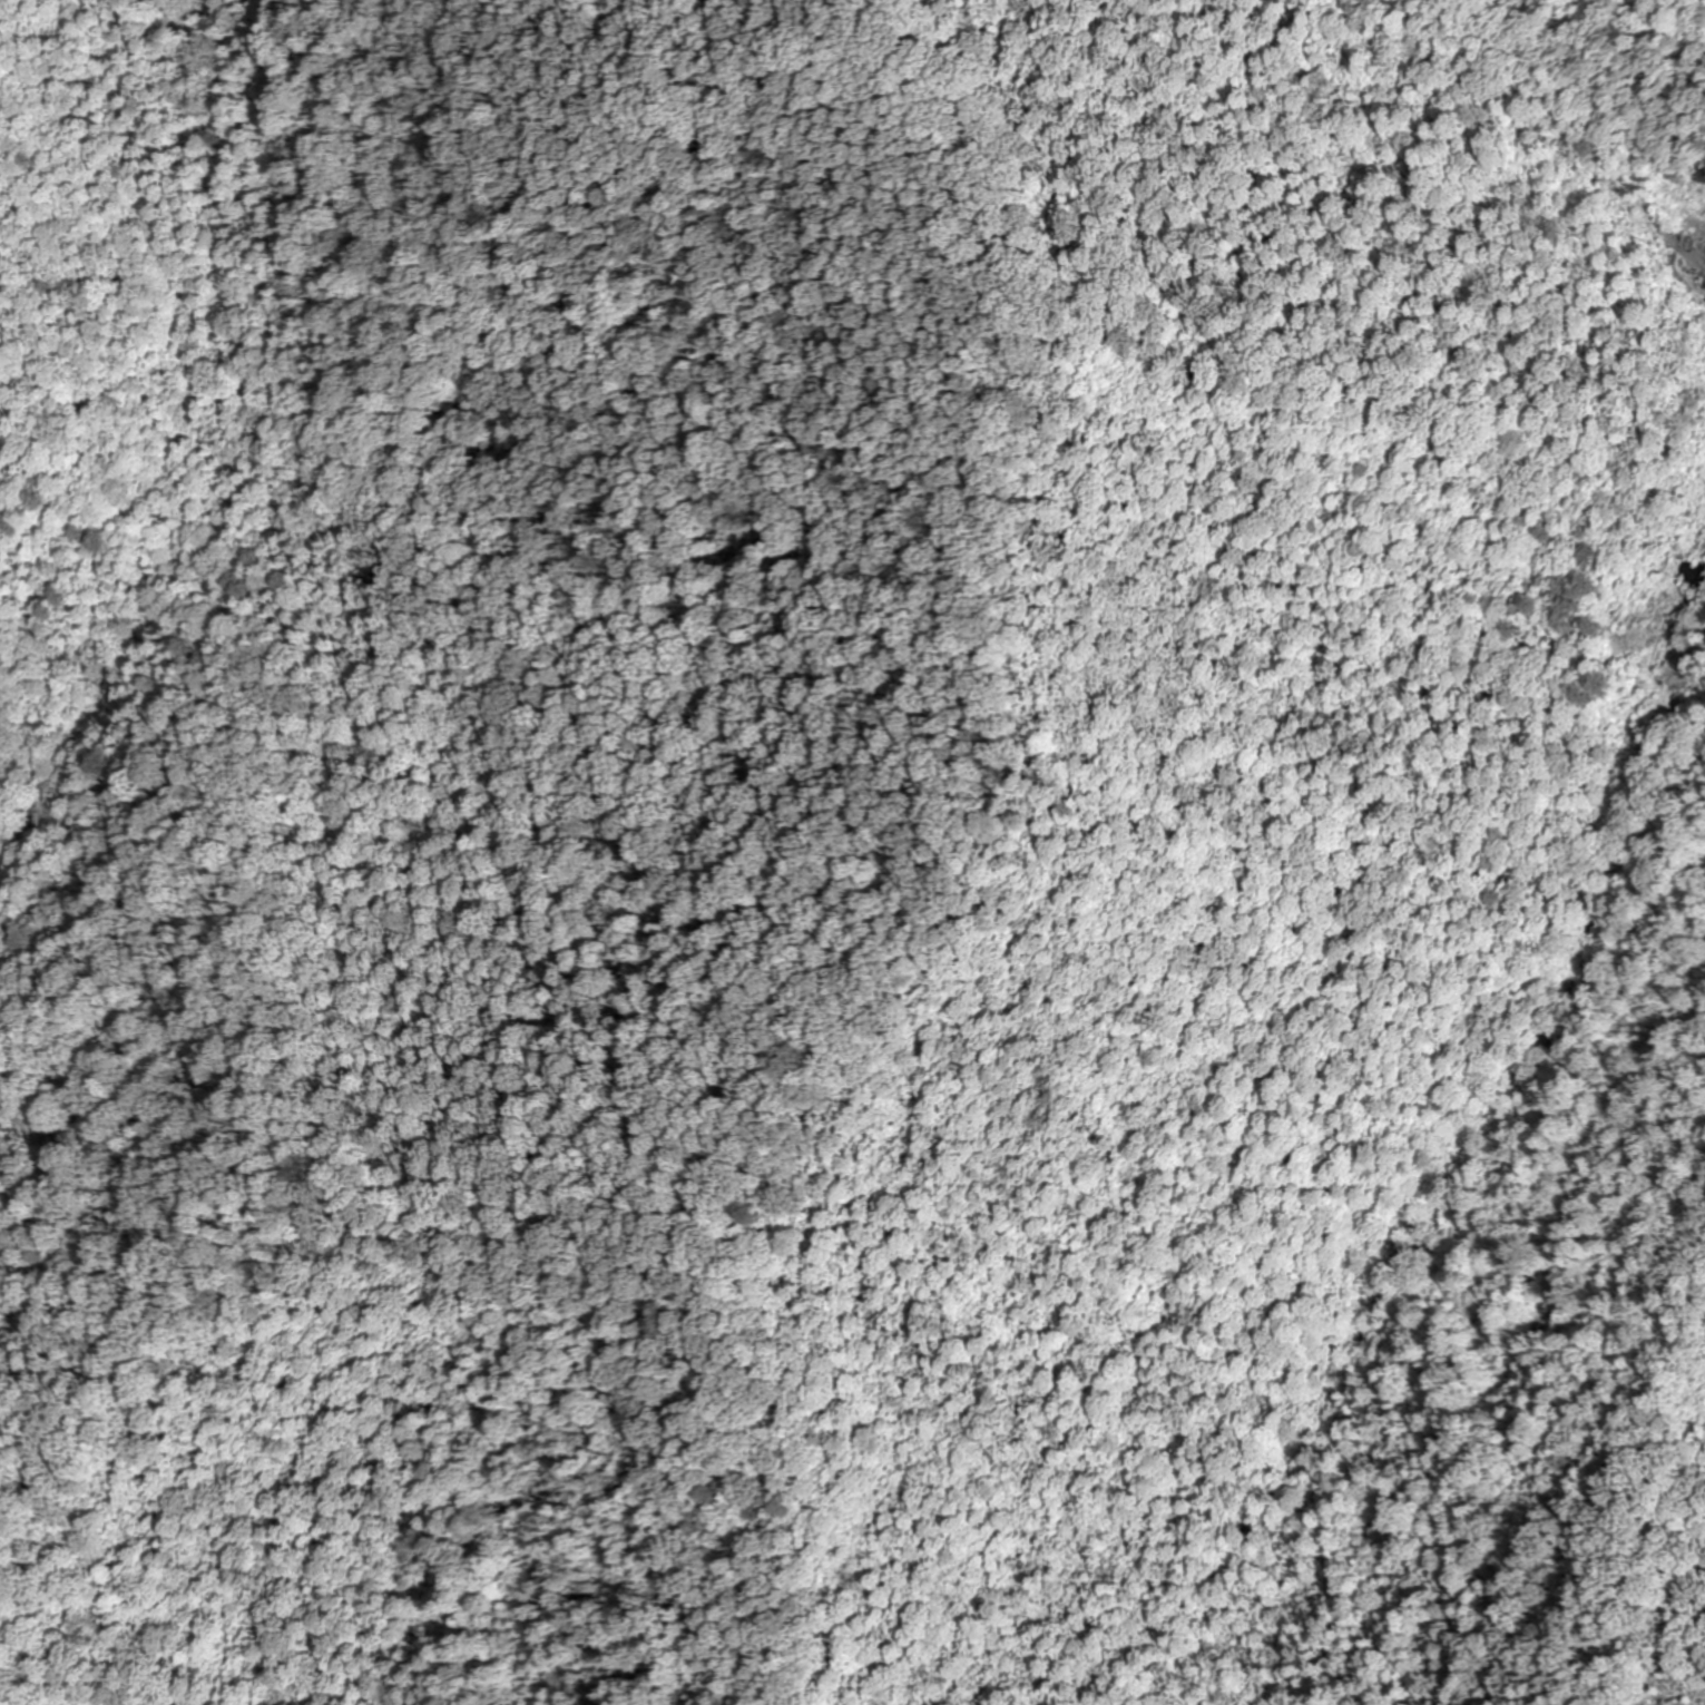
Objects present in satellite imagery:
building: (1692, 576)

